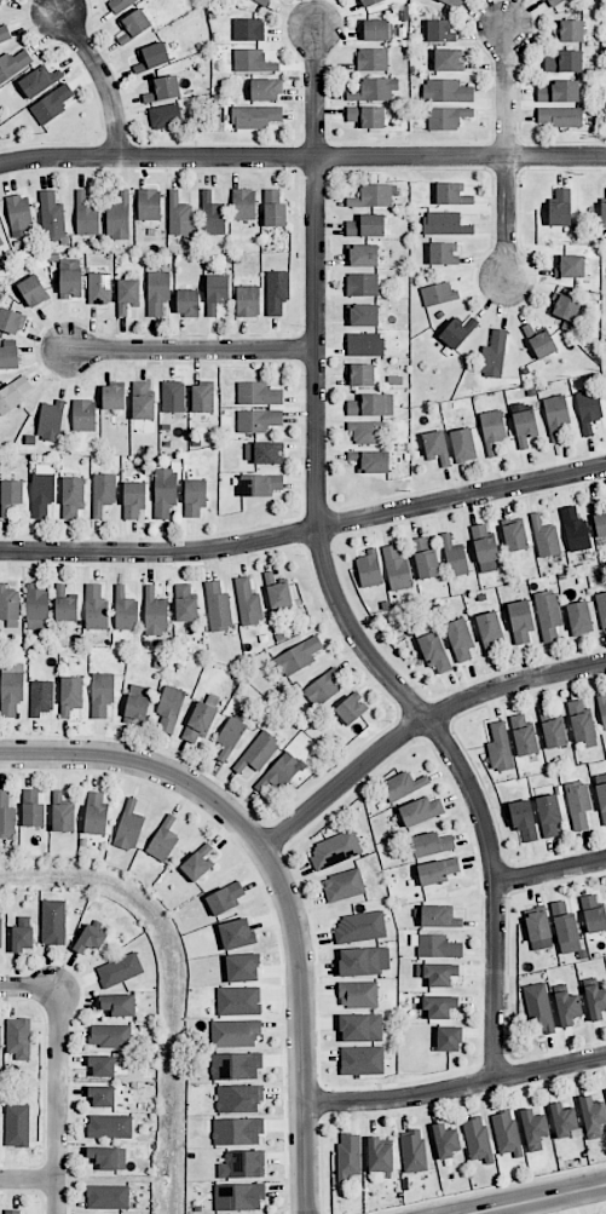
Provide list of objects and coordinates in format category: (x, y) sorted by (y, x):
building: (2, 1)
building: (264, 1)
building: (368, 2)
building: (454, 2)
building: (120, 4)
building: (134, 25)
building: (248, 29)
building: (375, 29)
building: (439, 30)
building: (570, 30)
building: (4, 31)
building: (152, 57)
building: (373, 59)
building: (448, 59)
building: (253, 61)
building: (564, 62)
building: (13, 64)
road: (104, 80)
building: (39, 81)
building: (163, 88)
building: (375, 88)
building: (266, 90)
building: (446, 91)
building: (559, 92)
building: (51, 104)
building: (165, 116)
building: (255, 116)
building: (367, 116)
building: (560, 116)
building: (446, 117)
road: (507, 155)
road: (302, 159)
building: (452, 194)
building: (374, 195)
building: (243, 203)
building: (149, 205)
building: (275, 208)
building: (560, 208)
building: (602, 213)
building: (179, 214)
building: (212, 214)
building: (19, 215)
building: (86, 215)
building: (52, 217)
building: (119, 217)
building: (445, 223)
building: (367, 225)
building: (1, 242)
building: (443, 253)
building: (363, 255)
building: (570, 265)
building: (70, 278)
building: (362, 284)
building: (99, 288)
building: (33, 290)
building: (157, 292)
building: (217, 292)
building: (277, 292)
building: (127, 294)
building: (438, 294)
building: (247, 301)
building: (187, 303)
building: (565, 307)
building: (363, 315)
building: (11, 321)
building: (457, 332)
building: (539, 341)
building: (364, 344)
road: (192, 351)
building: (8, 353)
building: (494, 353)
building: (360, 374)
building: (258, 393)
building: (13, 395)
building: (173, 396)
building: (112, 397)
building: (202, 398)
building: (142, 399)
building: (370, 404)
building: (588, 409)
building: (83, 415)
building: (556, 416)
building: (51, 420)
building: (258, 420)
building: (524, 424)
building: (492, 430)
building: (368, 431)
building: (435, 445)
building: (463, 445)
building: (262, 453)
building: (374, 461)
building: (260, 484)
building: (42, 489)
building: (103, 491)
building: (165, 491)
building: (11, 495)
building: (73, 496)
building: (194, 497)
building: (133, 499)
building: (600, 524)
building: (575, 529)
road: (305, 531)
building: (514, 536)
building: (546, 537)
building: (485, 547)
building: (454, 556)
building: (425, 559)
building: (369, 569)
building: (396, 569)
road: (330, 580)
building: (278, 596)
building: (248, 602)
building: (65, 604)
building: (185, 604)
building: (8, 605)
building: (601, 606)
building: (36, 608)
building: (96, 608)
building: (218, 608)
building: (125, 610)
building: (155, 612)
building: (548, 615)
building: (579, 617)
building: (520, 621)
building: (489, 627)
building: (460, 639)
building: (434, 652)
building: (296, 656)
building: (11, 687)
building: (323, 689)
building: (102, 694)
building: (70, 695)
building: (41, 697)
building: (138, 702)
building: (169, 707)
building: (350, 709)
building: (602, 710)
building: (200, 721)
building: (581, 724)
road: (417, 725)
building: (554, 733)
building: (524, 736)
building: (500, 747)
building: (258, 752)
road: (145, 766)
building: (279, 772)
building: (402, 786)
building: (601, 795)
building: (578, 804)
building: (31, 809)
building: (421, 811)
building: (62, 812)
building: (96, 813)
building: (6, 815)
building: (549, 815)
building: (524, 819)
building: (129, 825)
building: (163, 840)
building: (431, 844)
building: (335, 848)
building: (197, 863)
building: (437, 870)
road: (552, 873)
building: (344, 885)
building: (225, 898)
building: (594, 914)
building: (437, 916)
building: (53, 922)
building: (537, 925)
building: (360, 926)
building: (565, 928)
building: (1, 932)
building: (236, 933)
building: (23, 938)
building: (90, 938)
building: (435, 945)
building: (359, 961)
building: (242, 967)
building: (120, 970)
building: (437, 973)
road: (30, 988)
building: (358, 994)
building: (238, 1001)
building: (595, 1001)
building: (117, 1005)
building: (439, 1006)
building: (538, 1008)
building: (567, 1008)
building: (360, 1028)
road: (302, 1029)
building: (235, 1032)
building: (110, 1035)
building: (0, 1037)
building: (18, 1037)
building: (449, 1038)
building: (362, 1060)
building: (102, 1065)
building: (236, 1065)
road: (456, 1091)
building: (100, 1097)
building: (238, 1098)
road: (58, 1100)
building: (593, 1116)
building: (564, 1120)
building: (17, 1126)
building: (109, 1126)
building: (533, 1128)
building: (237, 1130)
building: (506, 1132)
building: (477, 1139)
building: (446, 1140)
building: (412, 1150)
building: (348, 1155)
building: (379, 1155)
building: (109, 1157)
building: (242, 1164)
road: (28, 1180)
building: (108, 1196)
building: (238, 1196)
road: (532, 1197)
road: (585, 1201)
building: (12, 1212)

